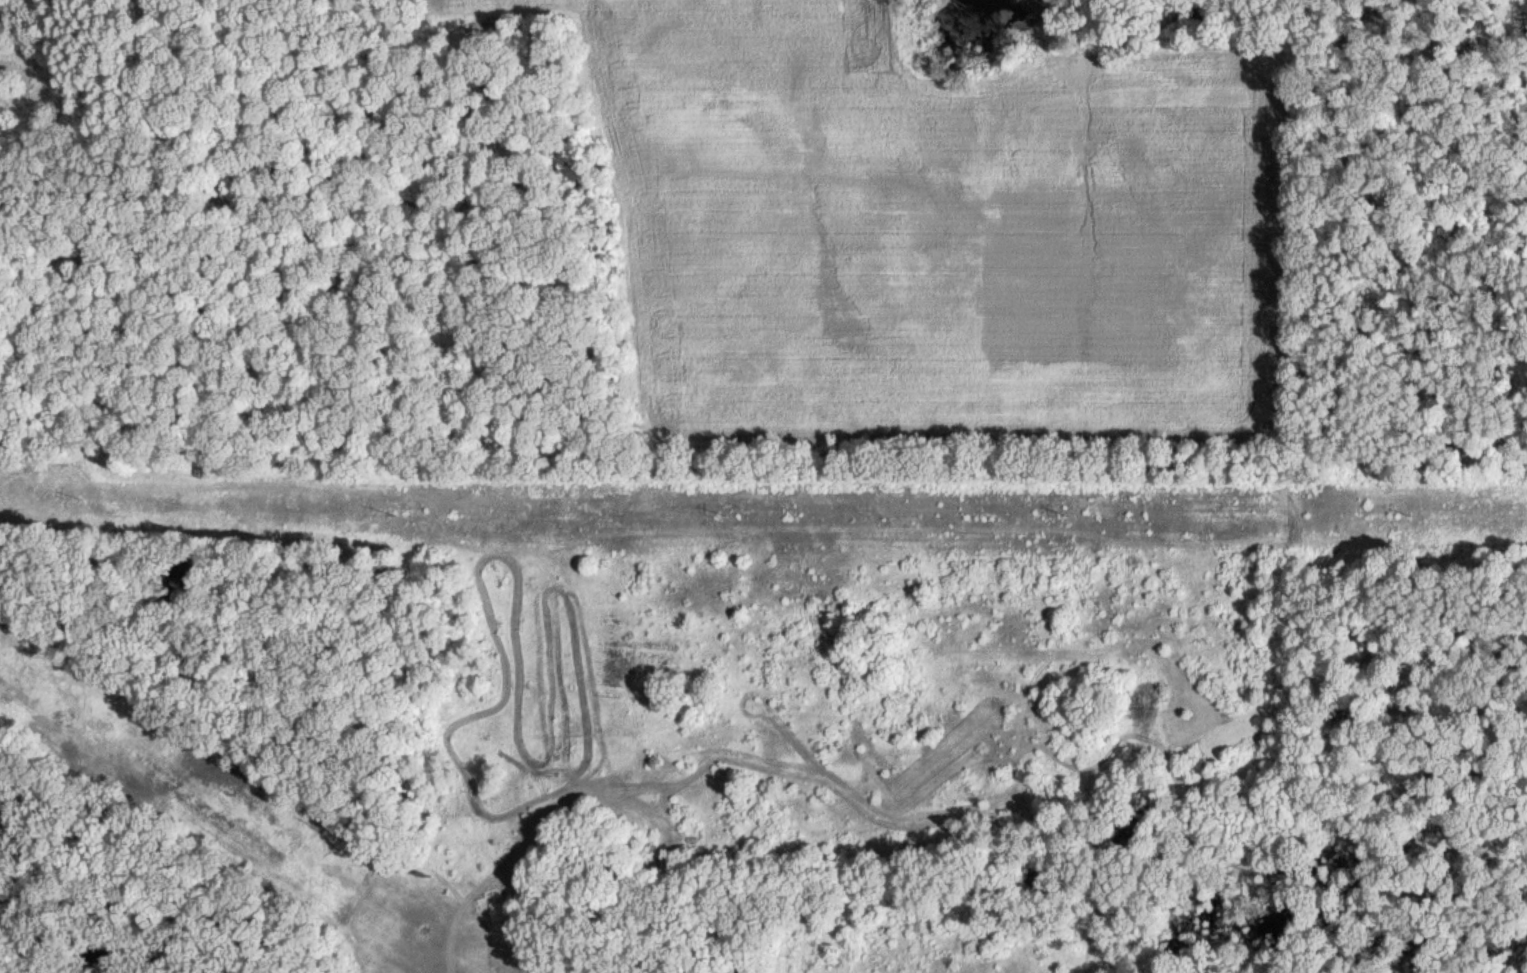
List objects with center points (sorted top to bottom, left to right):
power tower: (80, 496)
power tower: (384, 511)
power tower: (724, 515)
power tower: (1067, 515)
power tower: (1398, 515)

